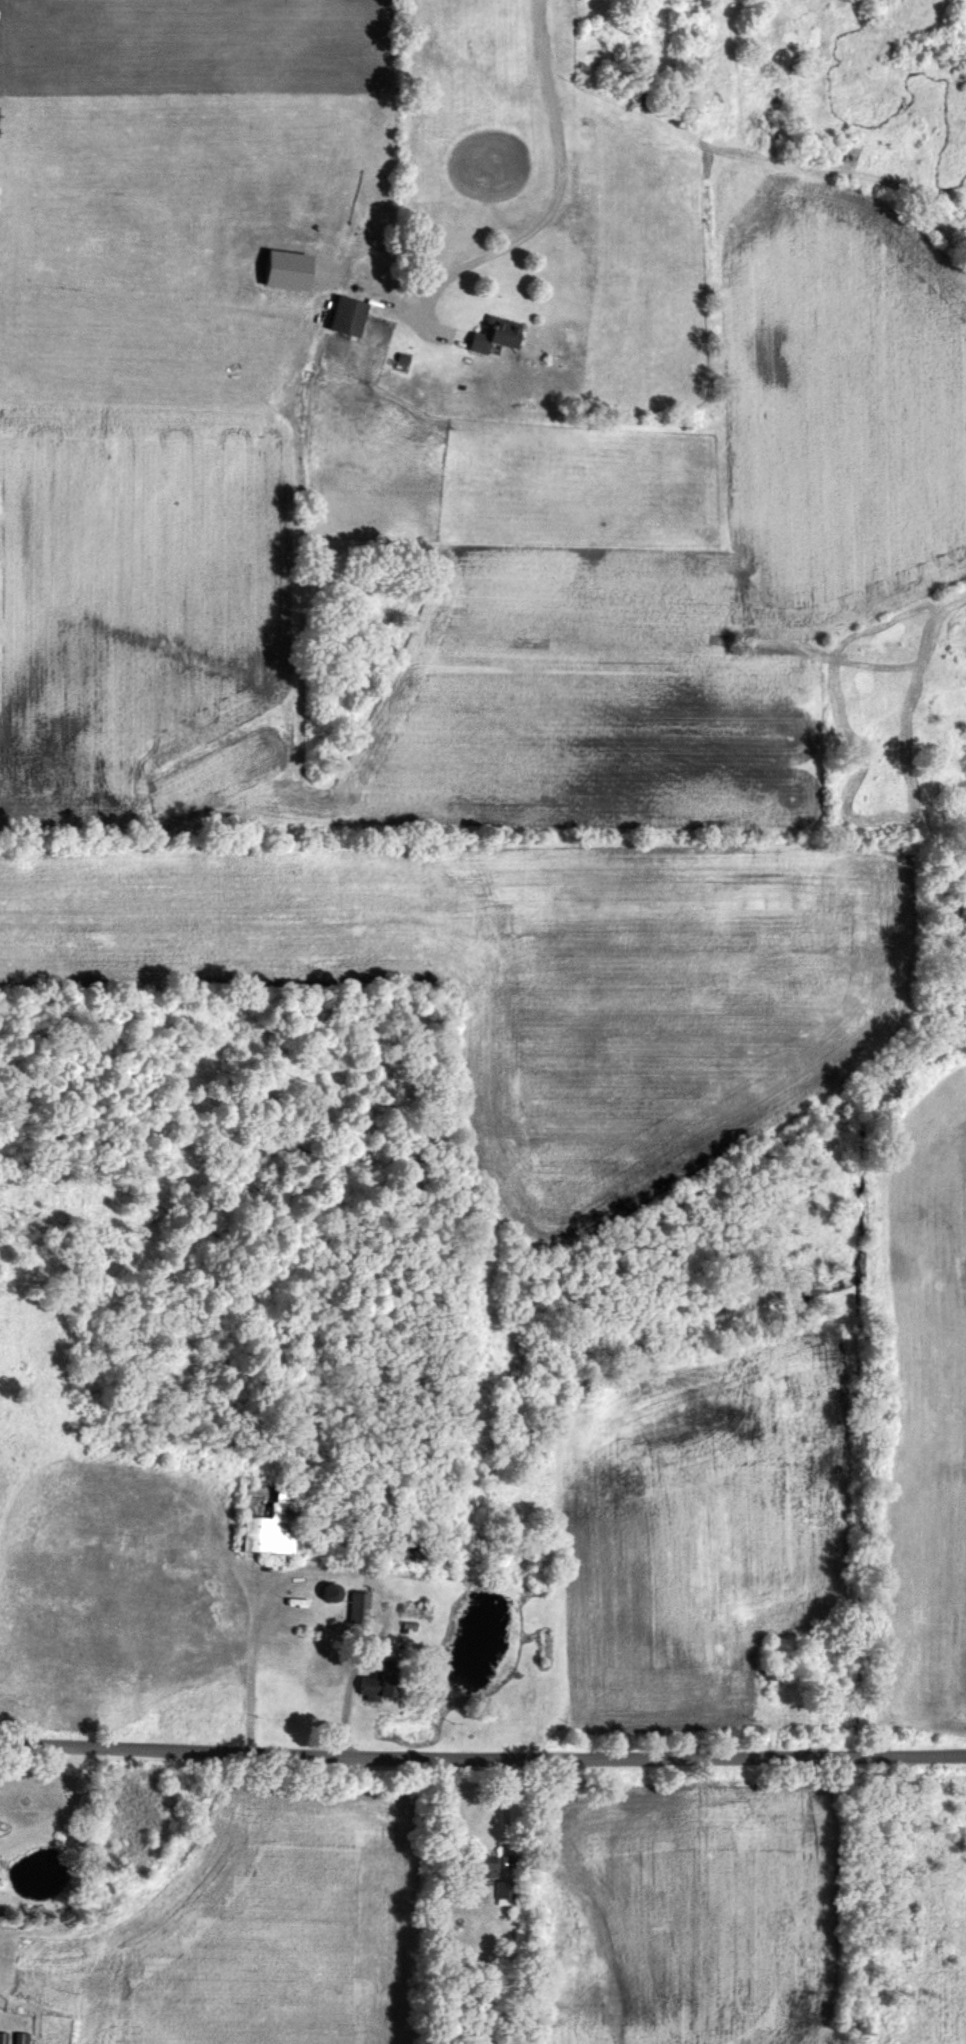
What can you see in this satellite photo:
road: (557, 183)
building: (341, 318)
building: (488, 335)
building: (266, 1523)
building: (412, 1607)
building: (353, 1608)
road: (380, 1625)
building: (363, 1686)
road: (482, 1757)
building: (18, 2039)

